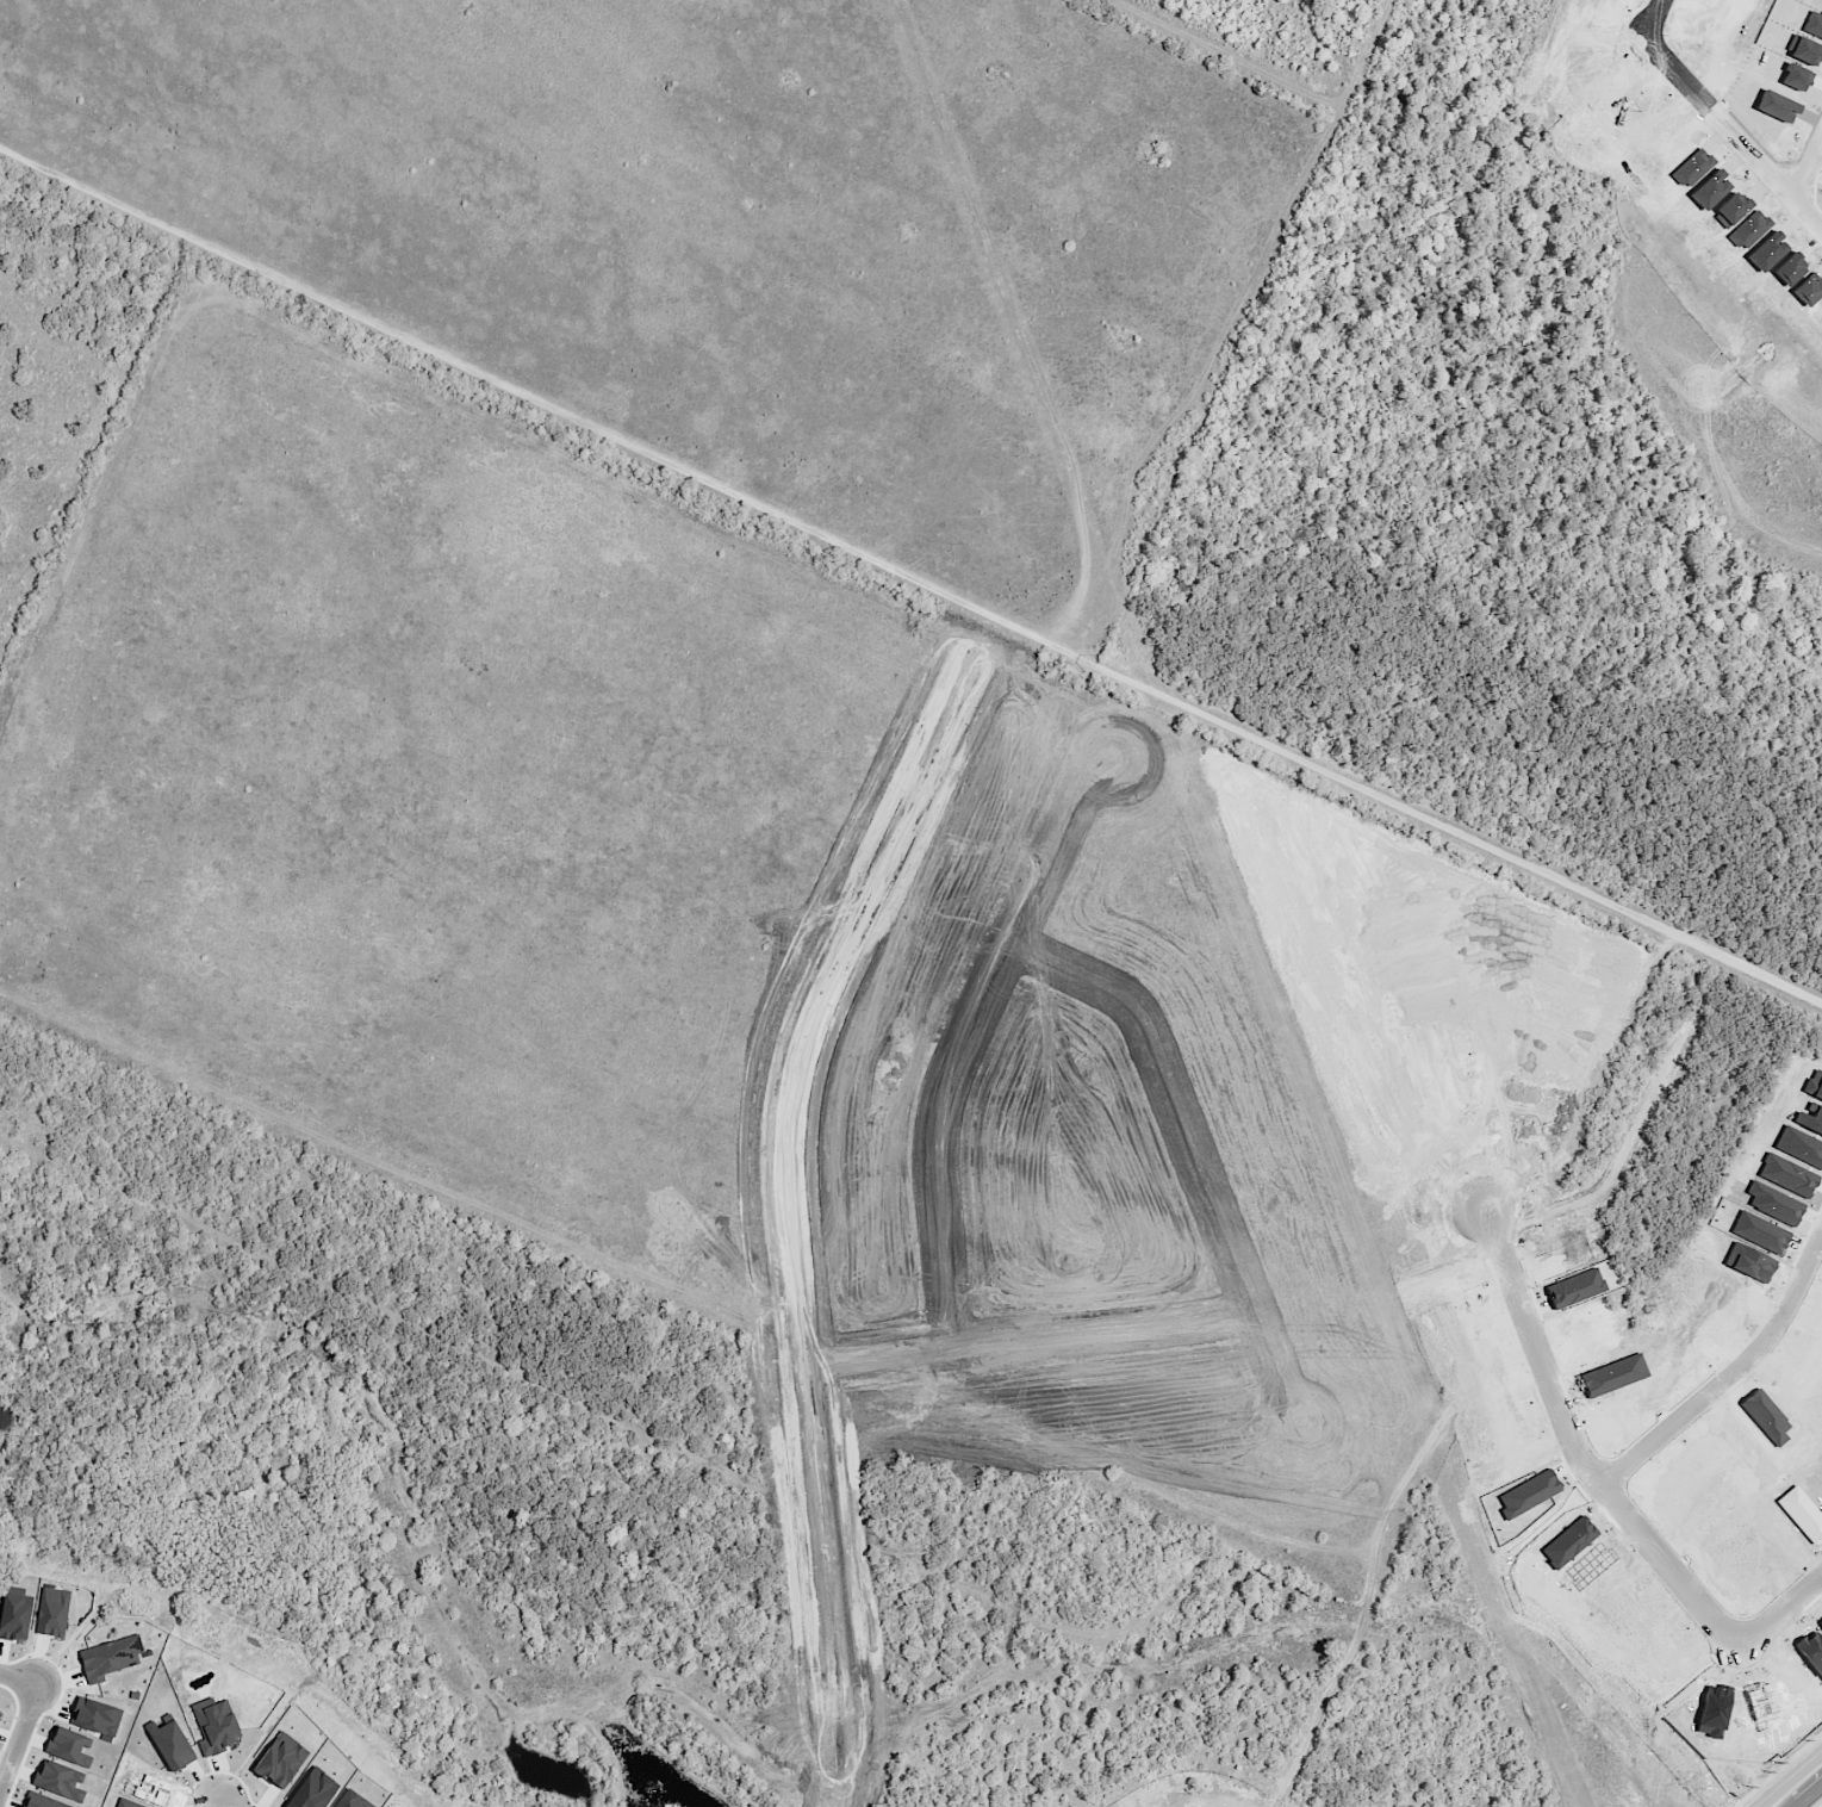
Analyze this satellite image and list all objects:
road: (1673, 29)
road: (1741, 141)
road: (1807, 159)
road: (957, 302)
road: (638, 585)
road: (404, 654)
road: (166, 657)
road: (1357, 684)
road: (760, 760)
road: (354, 821)
road: (1700, 821)
road: (1555, 828)
road: (402, 940)
road: (1703, 1008)
road: (963, 1036)
road: (383, 1094)
road: (1192, 1151)
road: (630, 1175)
road: (1472, 1176)
road: (784, 1188)
road: (465, 1249)
road: (1025, 1336)
road: (1730, 1389)
road: (1777, 1610)
building: (110, 1658)
road: (23, 1671)
road: (23, 1737)
building: (70, 1747)
building: (60, 1781)
road: (1798, 1786)
building: (41, 1801)
road: (1817, 1802)

